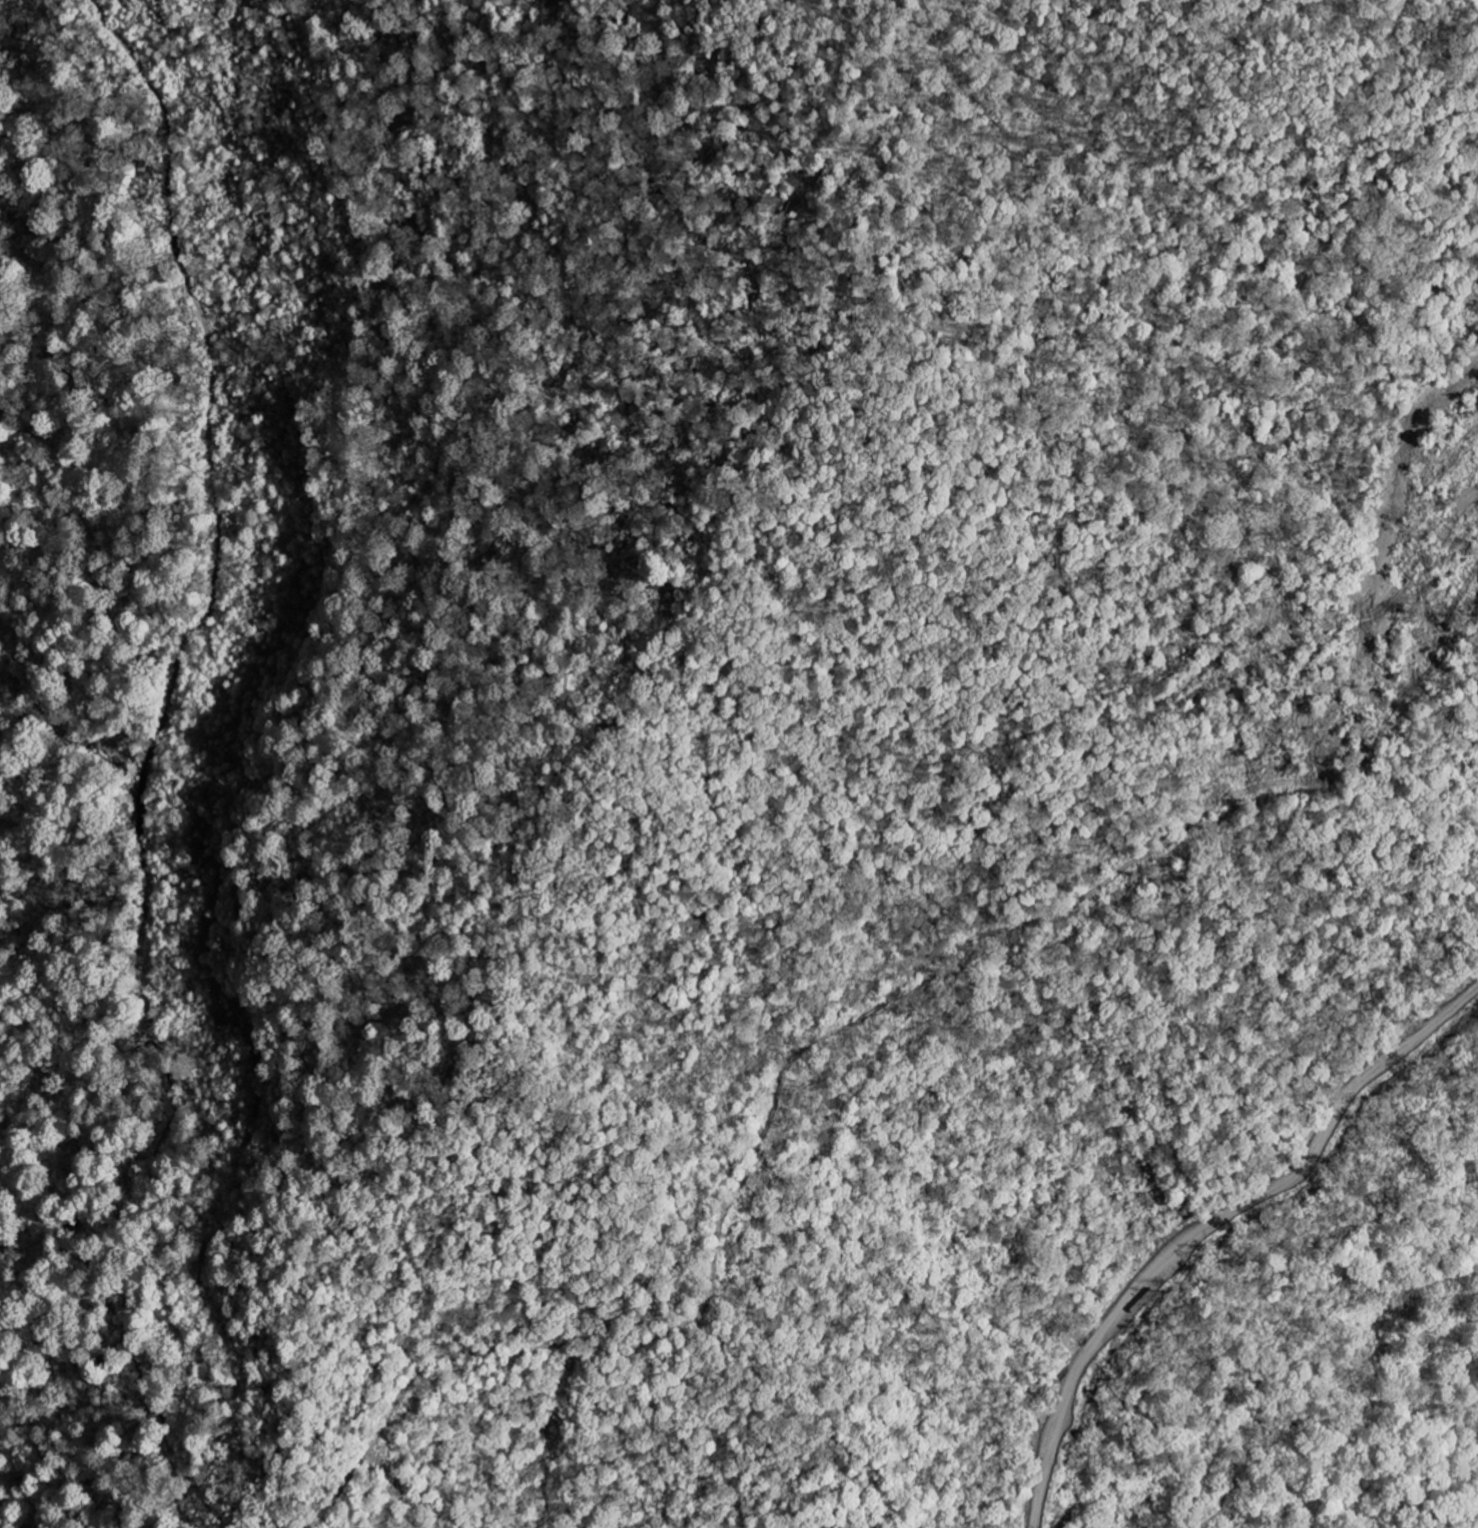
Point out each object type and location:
road: (1230, 1229)

